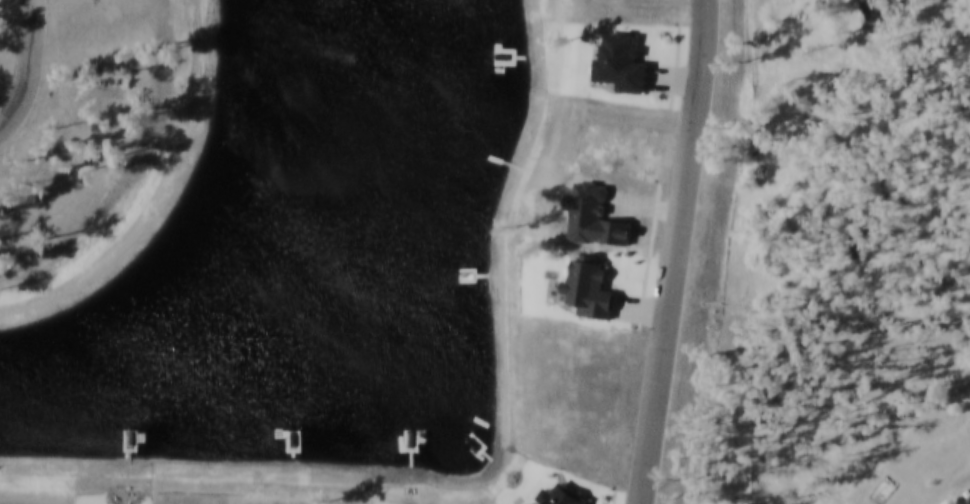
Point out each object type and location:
building: (882, 17)
road: (31, 71)
road: (676, 252)
building: (592, 290)
road: (645, 293)
road: (640, 310)
building: (566, 496)
road: (616, 497)
building: (969, 498)
building: (969, 503)

